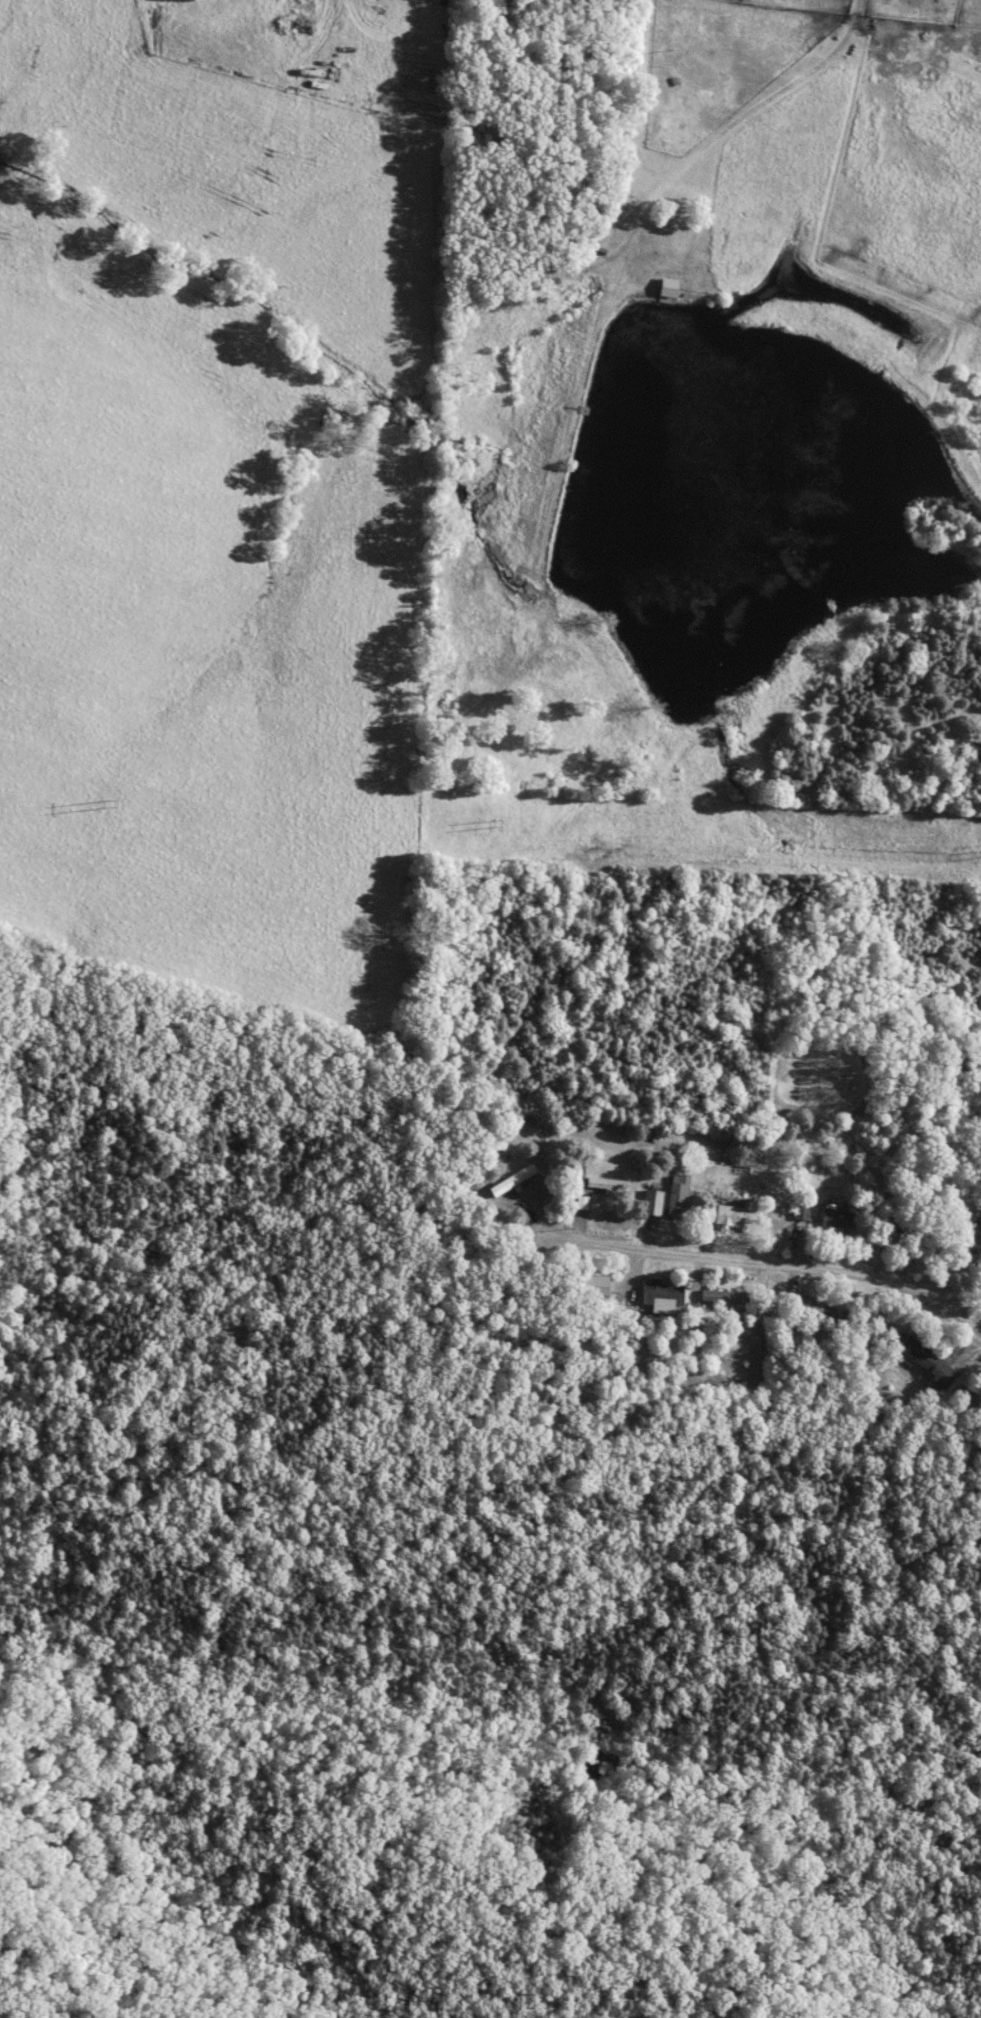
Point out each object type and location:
building: (665, 290)
road: (300, 425)
power tower: (106, 804)
power tower: (496, 825)
building: (508, 1181)
building: (602, 1185)
building: (649, 1202)
building: (797, 1212)
building: (978, 1217)
building: (726, 1218)
building: (835, 1220)
road: (762, 1263)
building: (590, 1286)
building: (647, 1295)
building: (719, 1298)
building: (809, 1310)
building: (926, 1367)

